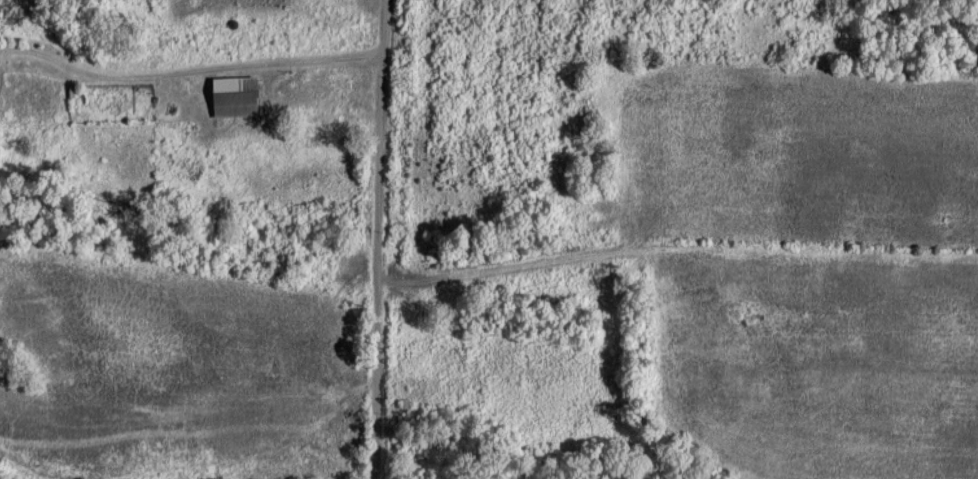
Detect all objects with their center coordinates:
building: (233, 96)
road: (382, 239)

